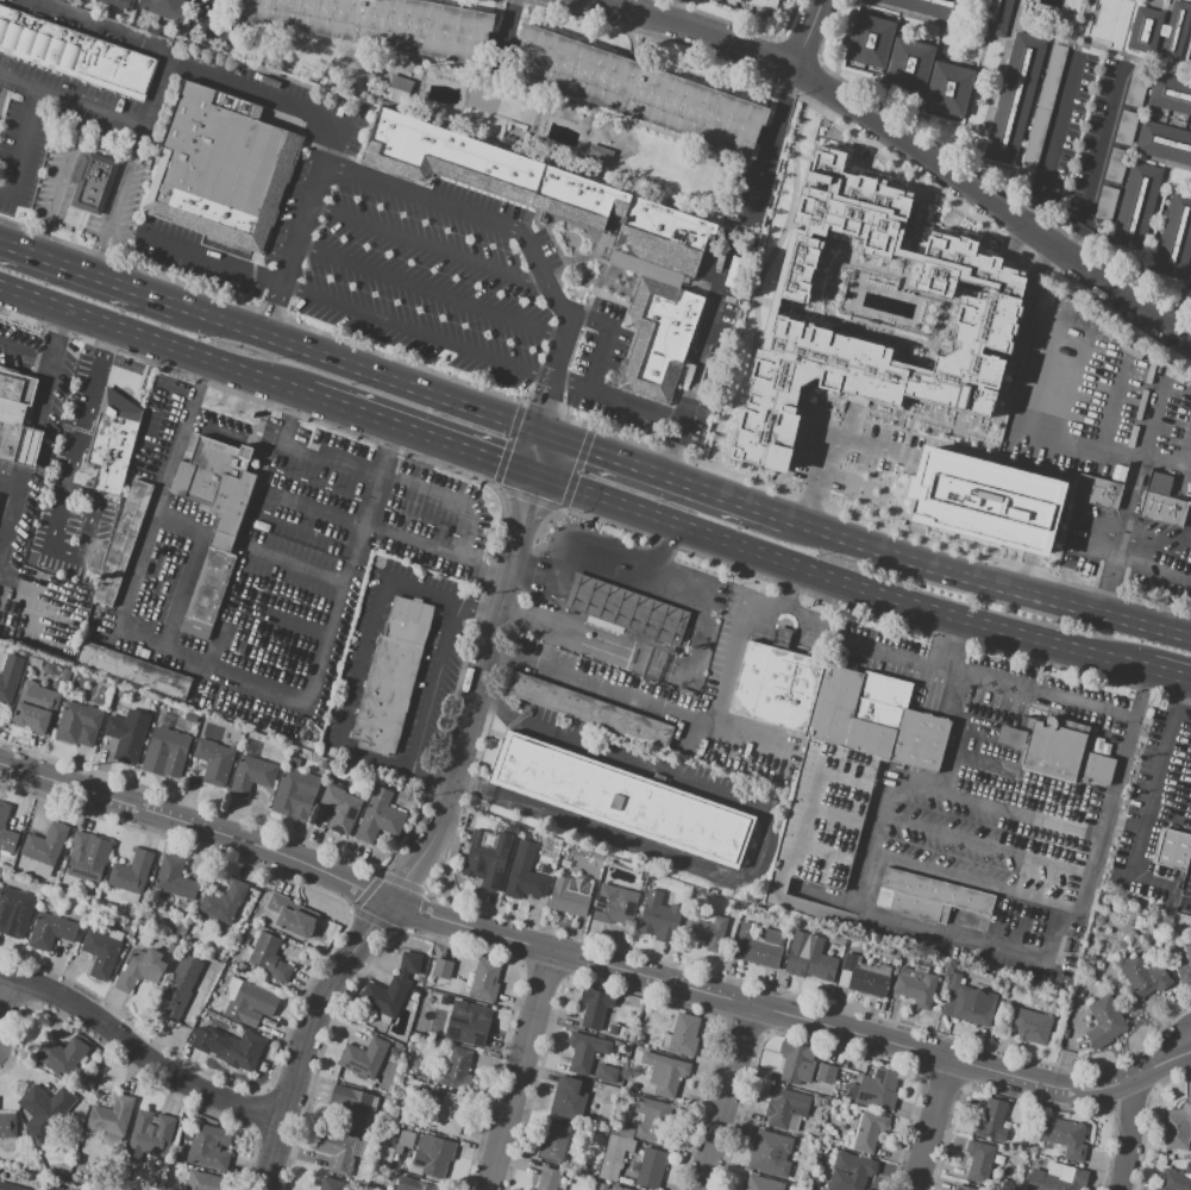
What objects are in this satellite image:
building: (118, 4)
building: (759, 4)
building: (164, 7)
building: (928, 7)
road: (212, 11)
building: (992, 15)
building: (382, 24)
road: (102, 29)
building: (1159, 30)
road: (803, 35)
building: (870, 40)
building: (75, 56)
road: (1107, 59)
building: (909, 64)
building: (1137, 84)
building: (397, 87)
building: (948, 88)
building: (637, 89)
road: (4, 92)
building: (1171, 93)
road: (251, 95)
building: (1014, 99)
road: (73, 101)
building: (1040, 120)
parking lot: (46, 126)
building: (1127, 127)
building: (804, 131)
building: (1165, 143)
road: (98, 144)
road: (767, 144)
road: (23, 146)
road: (904, 146)
building: (597, 158)
building: (1116, 165)
building: (220, 167)
road: (63, 180)
building: (92, 181)
parking lot: (48, 188)
building: (527, 190)
building: (1107, 203)
building: (1136, 206)
road: (516, 230)
building: (1174, 237)
road: (430, 245)
road: (211, 257)
road: (87, 271)
road: (431, 292)
building: (839, 309)
building: (1038, 321)
road: (416, 331)
road: (57, 333)
road: (148, 339)
road: (602, 339)
building: (657, 340)
road: (25, 350)
road: (698, 358)
building: (1027, 363)
road: (358, 367)
road: (46, 382)
road: (245, 400)
road: (615, 400)
building: (17, 419)
road: (545, 421)
traffic signals: (544, 431)
road: (80, 434)
road: (414, 434)
road: (852, 439)
building: (112, 441)
road: (307, 451)
road: (1097, 451)
road: (664, 472)
building: (1117, 472)
traffic signals: (533, 477)
building: (1097, 491)
road: (809, 496)
building: (984, 500)
building: (1162, 502)
road: (1126, 506)
road: (8, 511)
road: (521, 519)
road: (506, 526)
building: (224, 534)
road: (861, 540)
building: (121, 543)
road: (434, 547)
road: (614, 564)
road: (1153, 568)
parking lot: (425, 582)
road: (539, 582)
road: (836, 585)
road: (1065, 599)
road: (497, 609)
road: (627, 613)
building: (631, 624)
road: (616, 653)
road: (484, 656)
parking lot: (356, 659)
road: (913, 663)
building: (49, 668)
road: (207, 669)
building: (132, 670)
building: (67, 674)
building: (10, 677)
building: (390, 677)
road: (1168, 677)
road: (433, 683)
parking lot: (432, 689)
building: (121, 693)
road: (1057, 695)
road: (948, 696)
building: (37, 707)
building: (173, 710)
building: (590, 712)
road: (512, 716)
building: (194, 718)
road: (690, 718)
building: (79, 720)
building: (236, 728)
road: (961, 728)
building: (127, 734)
road: (746, 738)
road: (462, 740)
building: (165, 743)
building: (1057, 754)
building: (214, 762)
building: (321, 764)
building: (832, 764)
building: (339, 770)
building: (251, 771)
building: (294, 785)
road: (471, 785)
road: (1148, 798)
building: (621, 801)
building: (340, 807)
building: (380, 815)
building: (510, 831)
building: (6, 832)
building: (46, 844)
building: (1172, 850)
building: (87, 856)
building: (485, 859)
road: (752, 865)
building: (7, 868)
building: (131, 871)
building: (546, 871)
building: (525, 872)
building: (175, 878)
road: (983, 885)
building: (570, 895)
building: (934, 901)
building: (225, 902)
building: (614, 903)
building: (734, 907)
road: (1189, 907)
building: (682, 909)
building: (14, 910)
building: (292, 914)
building: (83, 917)
building: (654, 919)
building: (1139, 922)
building: (51, 931)
building: (706, 931)
building: (758, 946)
building: (101, 951)
building: (265, 957)
building: (1189, 957)
building: (810, 959)
road: (591, 962)
building: (894, 962)
building: (441, 969)
building: (138, 970)
road: (337, 973)
building: (1145, 976)
building: (865, 978)
building: (484, 981)
building: (180, 987)
building: (391, 988)
building: (916, 990)
road: (6, 996)
building: (251, 1004)
building: (970, 1004)
building: (595, 1007)
building: (469, 1023)
building: (1103, 1023)
building: (1029, 1026)
building: (613, 1029)
building: (622, 1032)
building: (684, 1036)
building: (639, 1038)
building: (664, 1040)
building: (236, 1047)
road: (139, 1051)
building: (584, 1051)
building: (61, 1056)
building: (363, 1058)
building: (797, 1061)
building: (845, 1064)
building: (457, 1066)
road: (518, 1070)
building: (606, 1073)
building: (664, 1073)
building: (826, 1073)
building: (597, 1088)
building: (878, 1090)
road: (729, 1097)
building: (566, 1100)
building: (815, 1101)
building: (825, 1102)
building: (351, 1107)
building: (783, 1107)
building: (44, 1110)
building: (451, 1115)
building: (112, 1116)
building: (991, 1120)
building: (652, 1121)
road: (929, 1125)
building: (8, 1126)
building: (817, 1128)
building: (1177, 1128)
building: (869, 1130)
building: (149, 1134)
road: (1130, 1135)
building: (1065, 1138)
building: (403, 1140)
building: (554, 1142)
building: (207, 1146)
building: (821, 1147)
building: (337, 1150)
building: (387, 1153)
building: (770, 1153)
building: (433, 1154)
building: (614, 1157)
building: (979, 1159)
building: (651, 1167)
building: (850, 1172)
building: (803, 1177)
building: (547, 1179)
building: (206, 1180)
building: (1173, 1180)
building: (814, 1182)
building: (1064, 1182)
building: (331, 1184)
building: (413, 1184)
building: (761, 1184)
building: (10, 1186)
building: (602, 1186)
building: (52, 1188)
building: (618, 1188)
building: (959, 1188)
building: (528, 1189)

